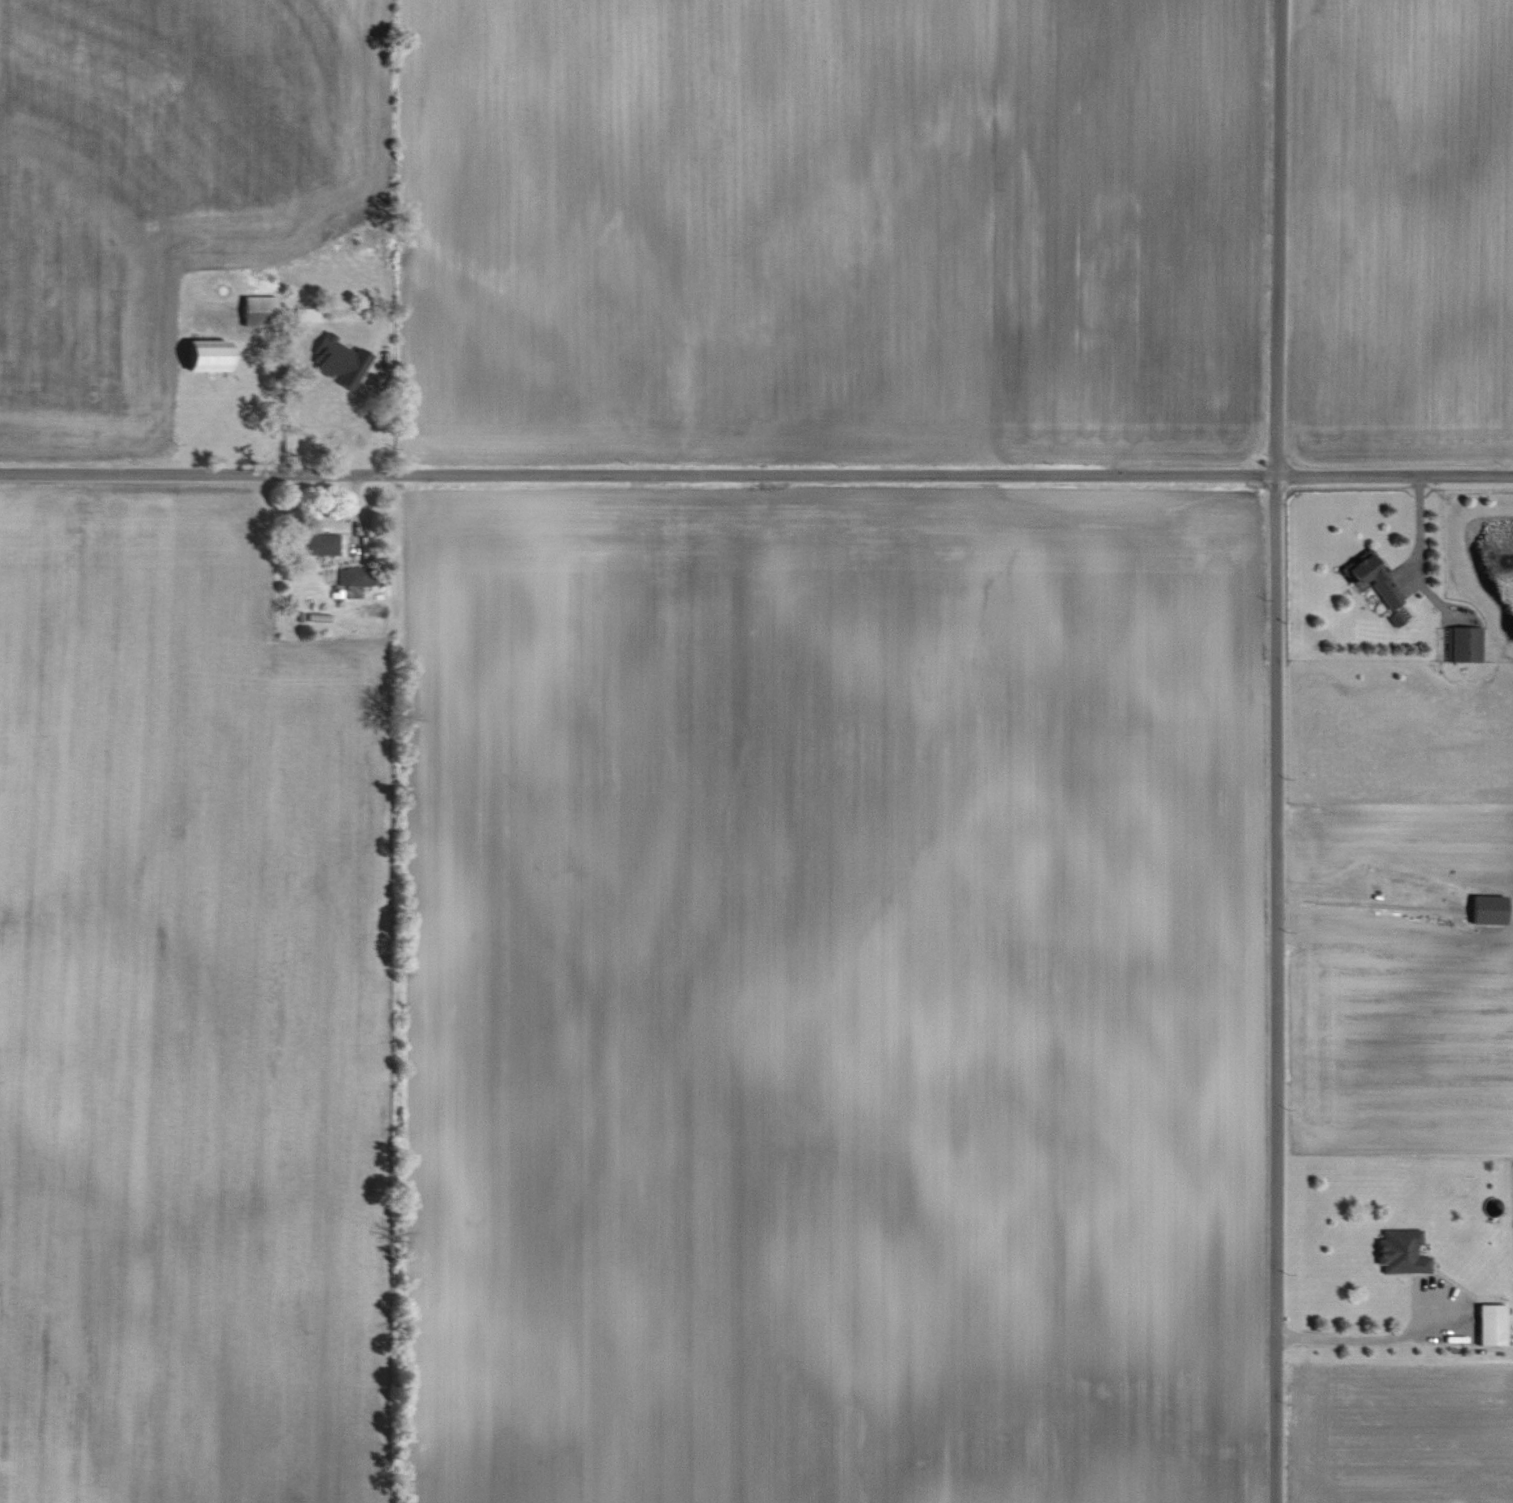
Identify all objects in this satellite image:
building: (259, 311)
building: (307, 315)
building: (207, 356)
building: (349, 363)
building: (347, 421)
road: (756, 469)
road: (1419, 532)
building: (322, 544)
building: (356, 577)
building: (1374, 579)
building: (1465, 645)
road: (1276, 751)
building: (1489, 909)
building: (1402, 1250)
building: (1492, 1326)
road: (1363, 1334)

